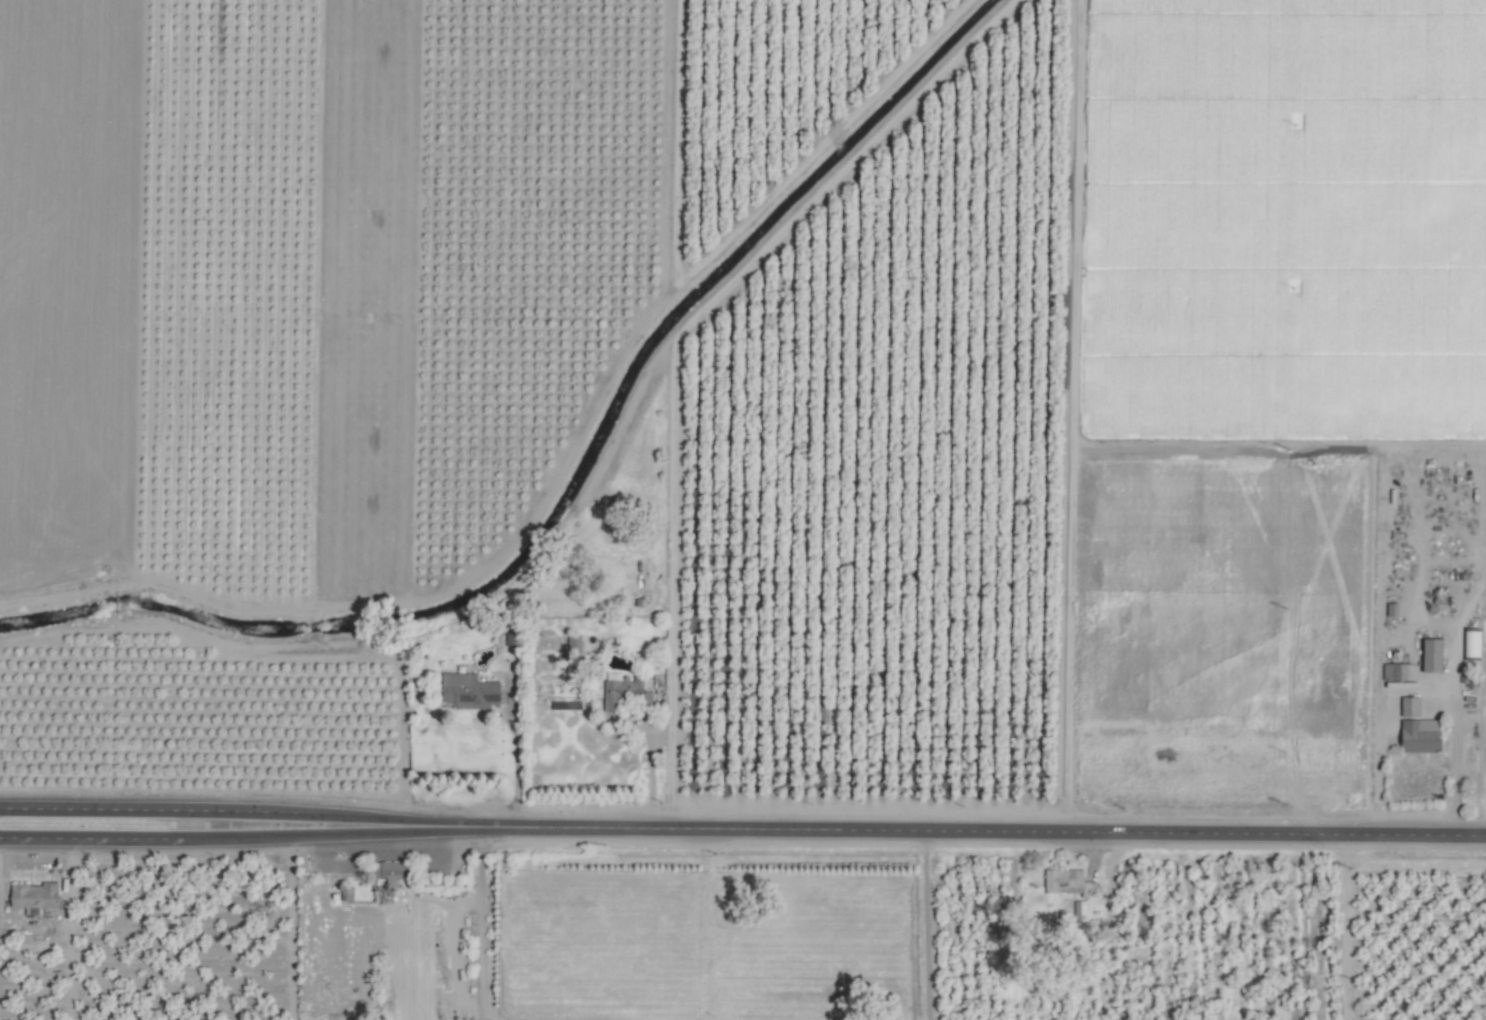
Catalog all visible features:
crop: (743, 510)
building: (1434, 656)
building: (1401, 672)
road: (1418, 688)
building: (494, 694)
building: (626, 694)
building: (1420, 730)
road: (516, 757)
road: (651, 775)
road: (147, 809)
road: (347, 816)
road: (424, 822)
road: (491, 826)
road: (687, 828)
road: (423, 829)
road: (1162, 832)
road: (291, 835)
road: (91, 838)
building: (391, 872)
building: (1064, 880)
building: (36, 895)
road: (481, 922)
road: (926, 924)
road: (1345, 927)

